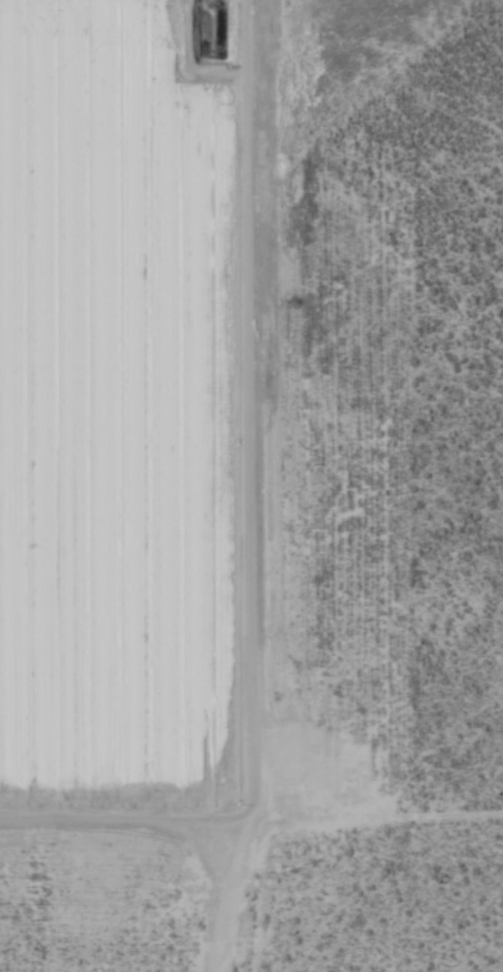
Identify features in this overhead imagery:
crop: (251, 486)
road: (270, 486)

